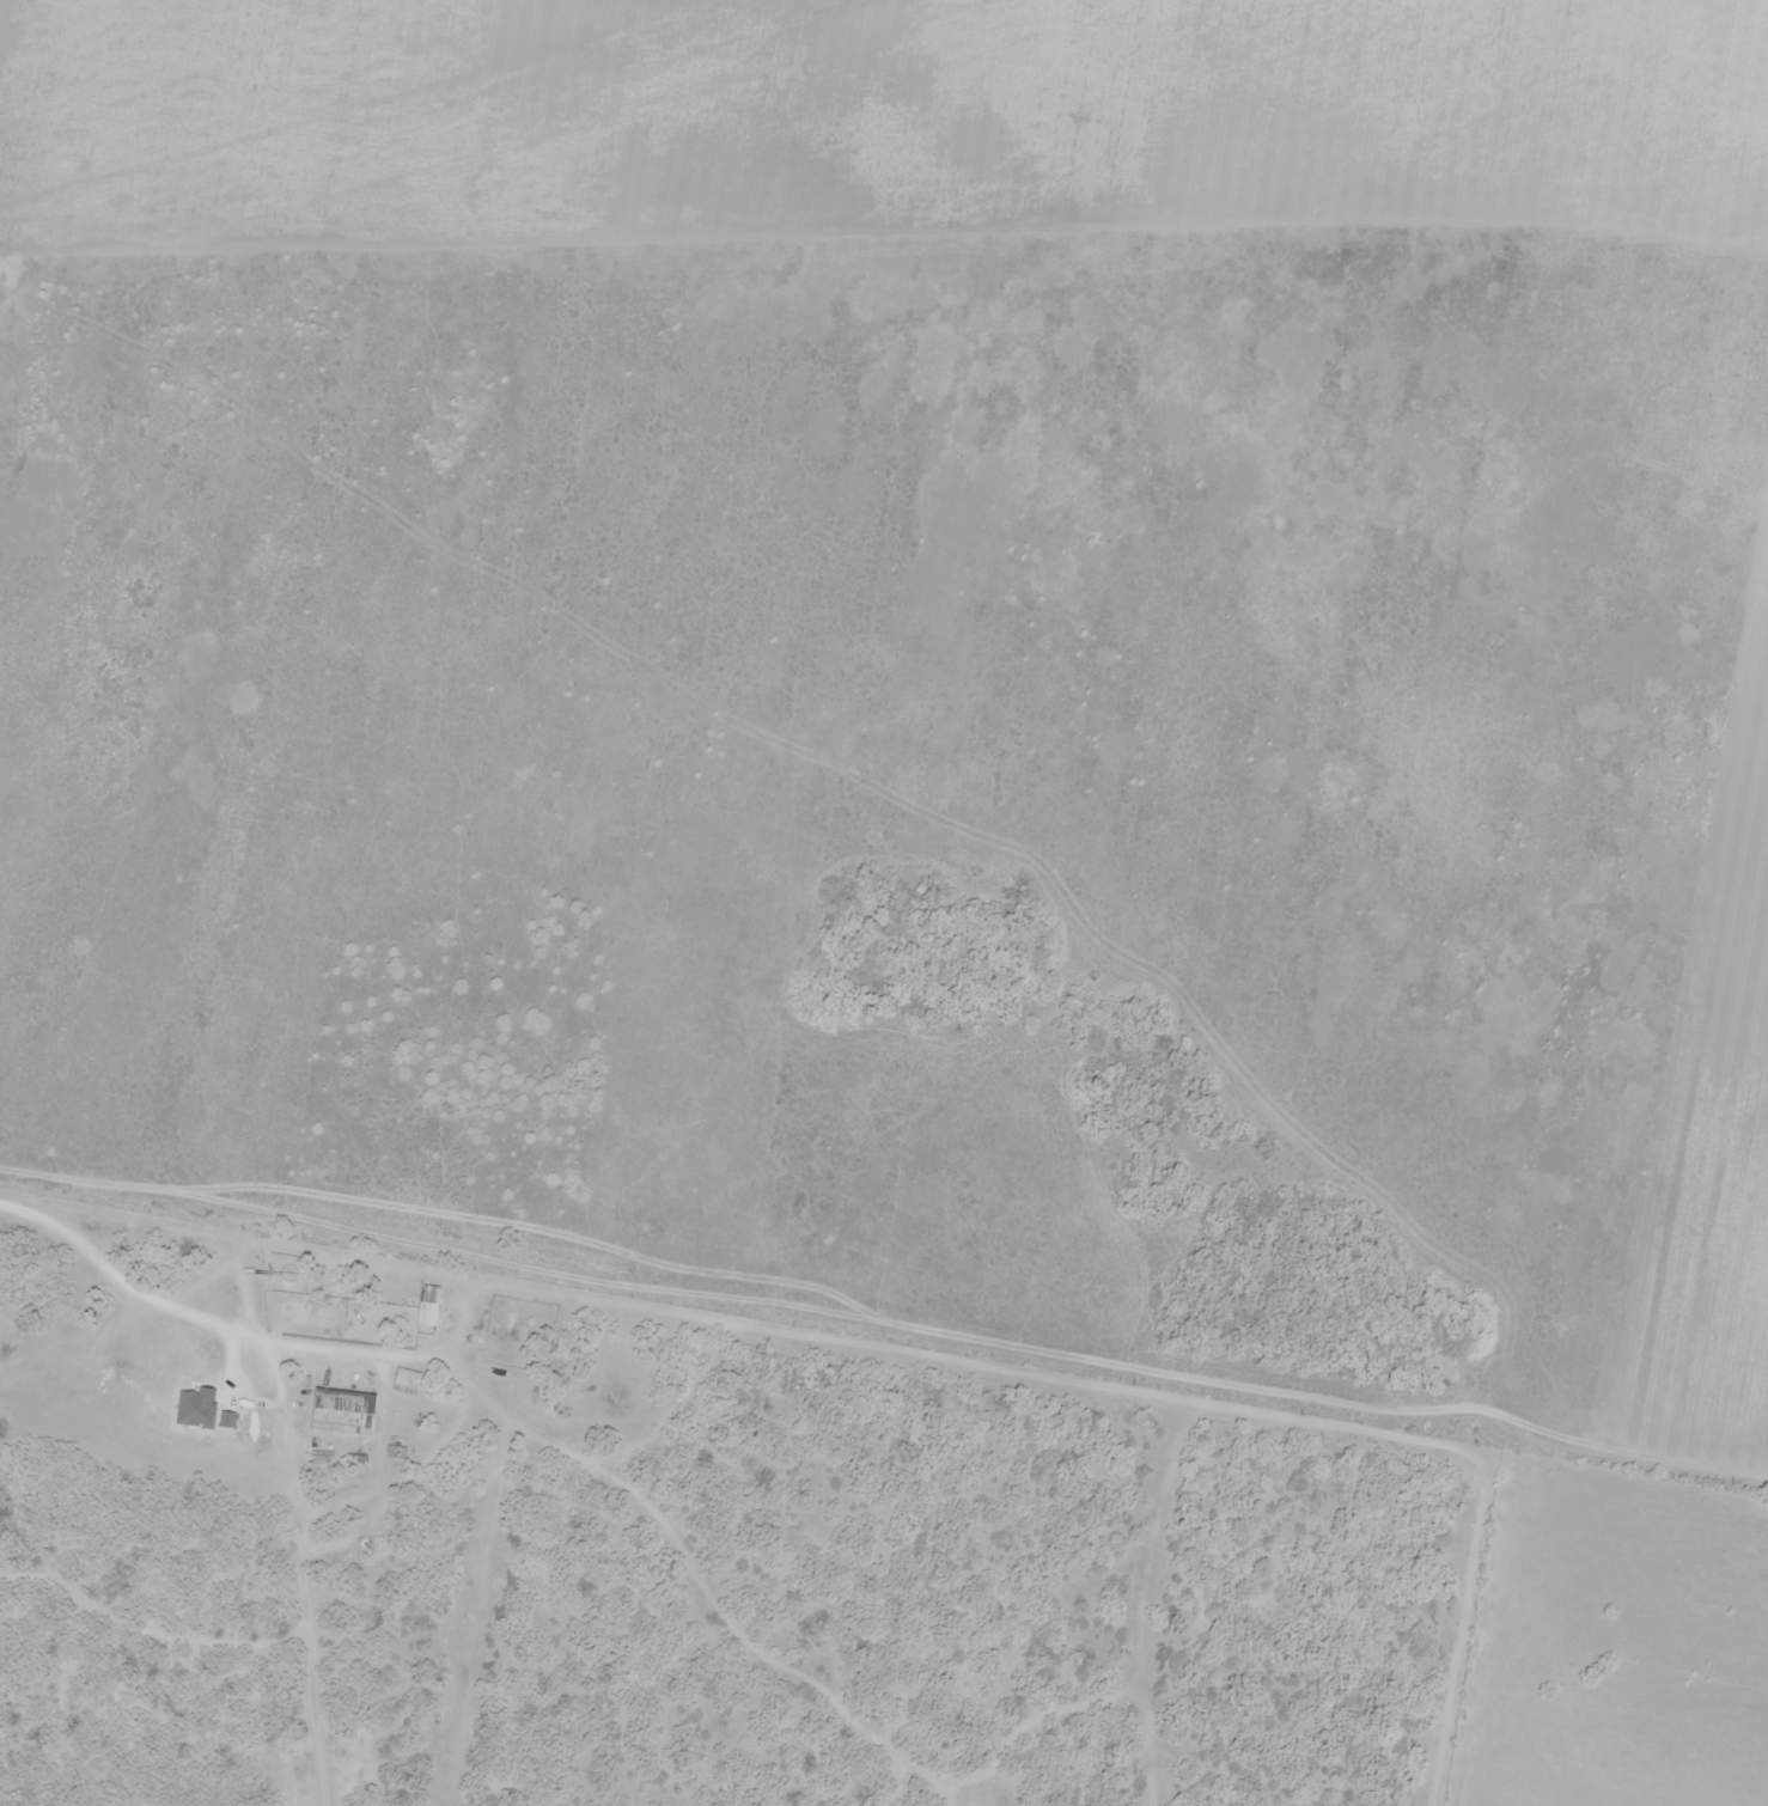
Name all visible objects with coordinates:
road: (249, 56)
building: (426, 1305)
road: (202, 1318)
building: (403, 1380)
building: (341, 1410)

